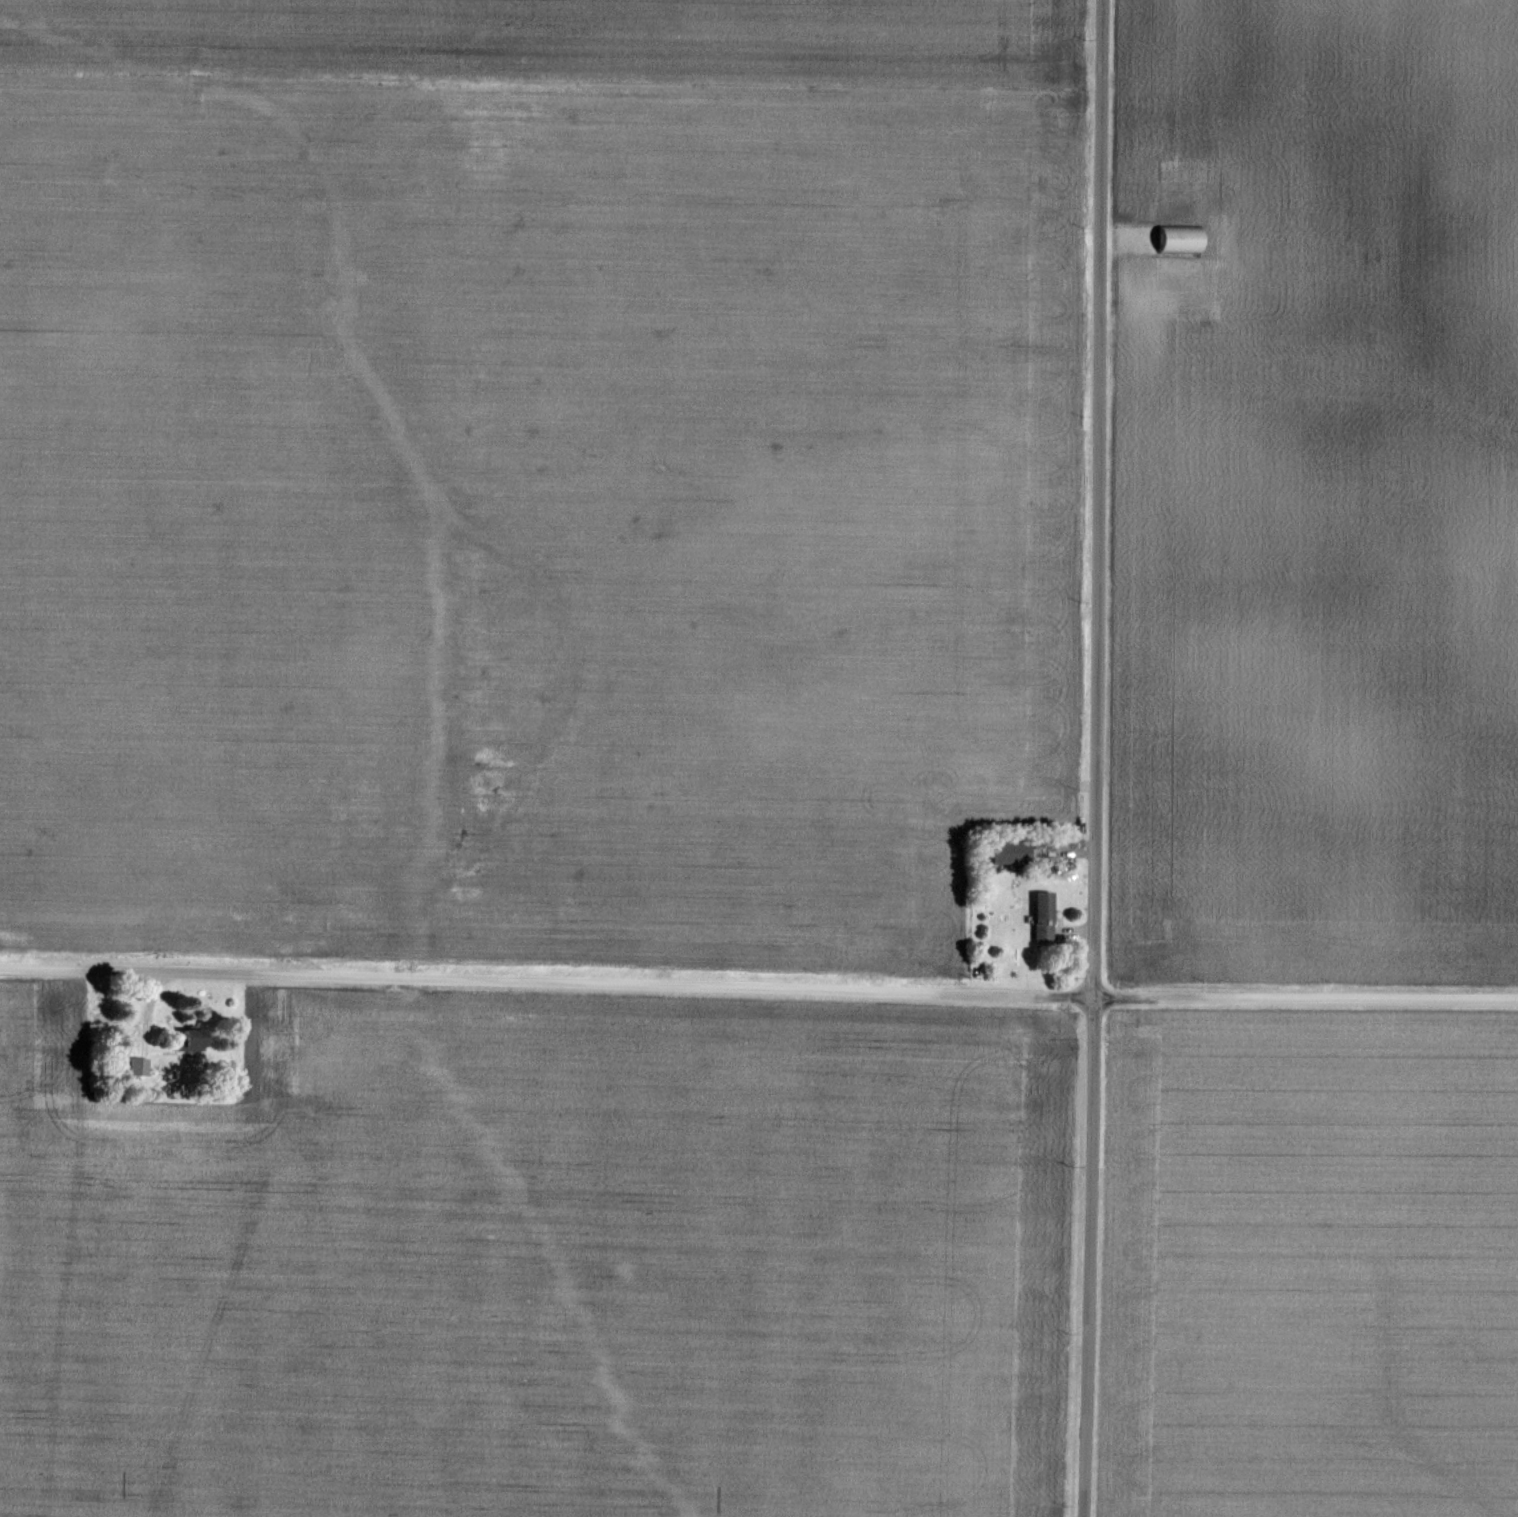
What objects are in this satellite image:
building: (1178, 240)
road: (1081, 758)
building: (1042, 903)
road: (758, 1002)
building: (188, 1039)

